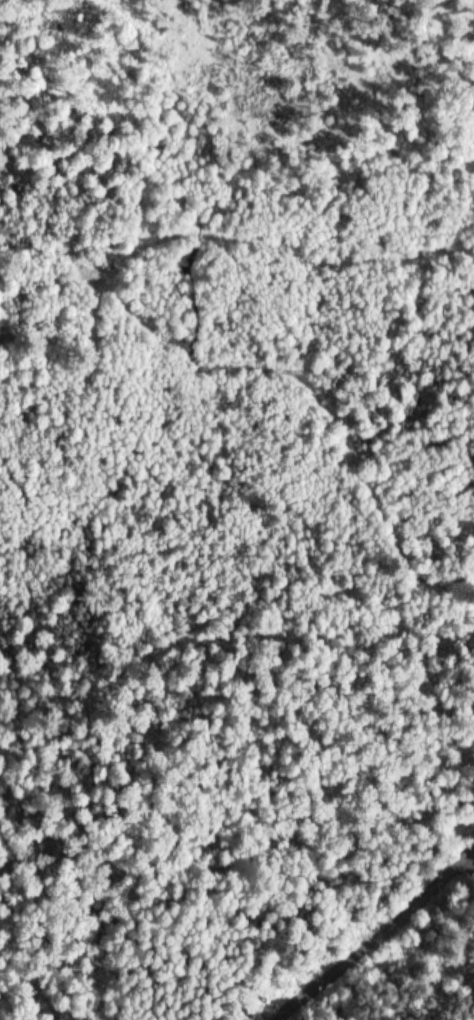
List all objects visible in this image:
road: (381, 940)

